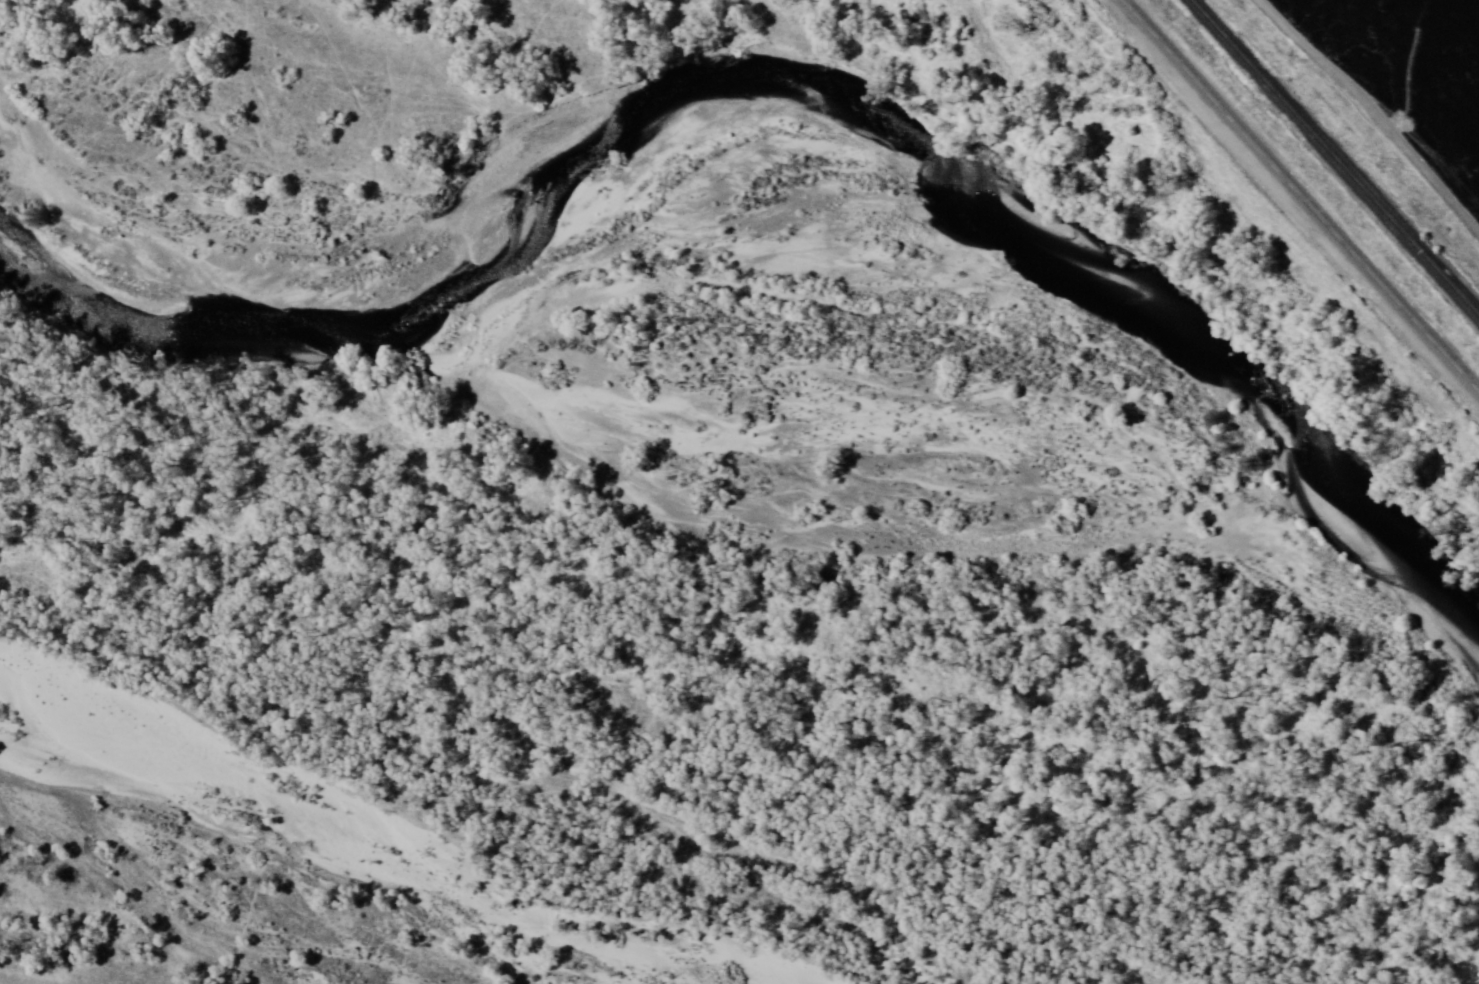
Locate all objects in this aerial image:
railway: (1332, 160)
road: (1303, 192)
river: (338, 258)
park: (1292, 295)
river: (1075, 526)

